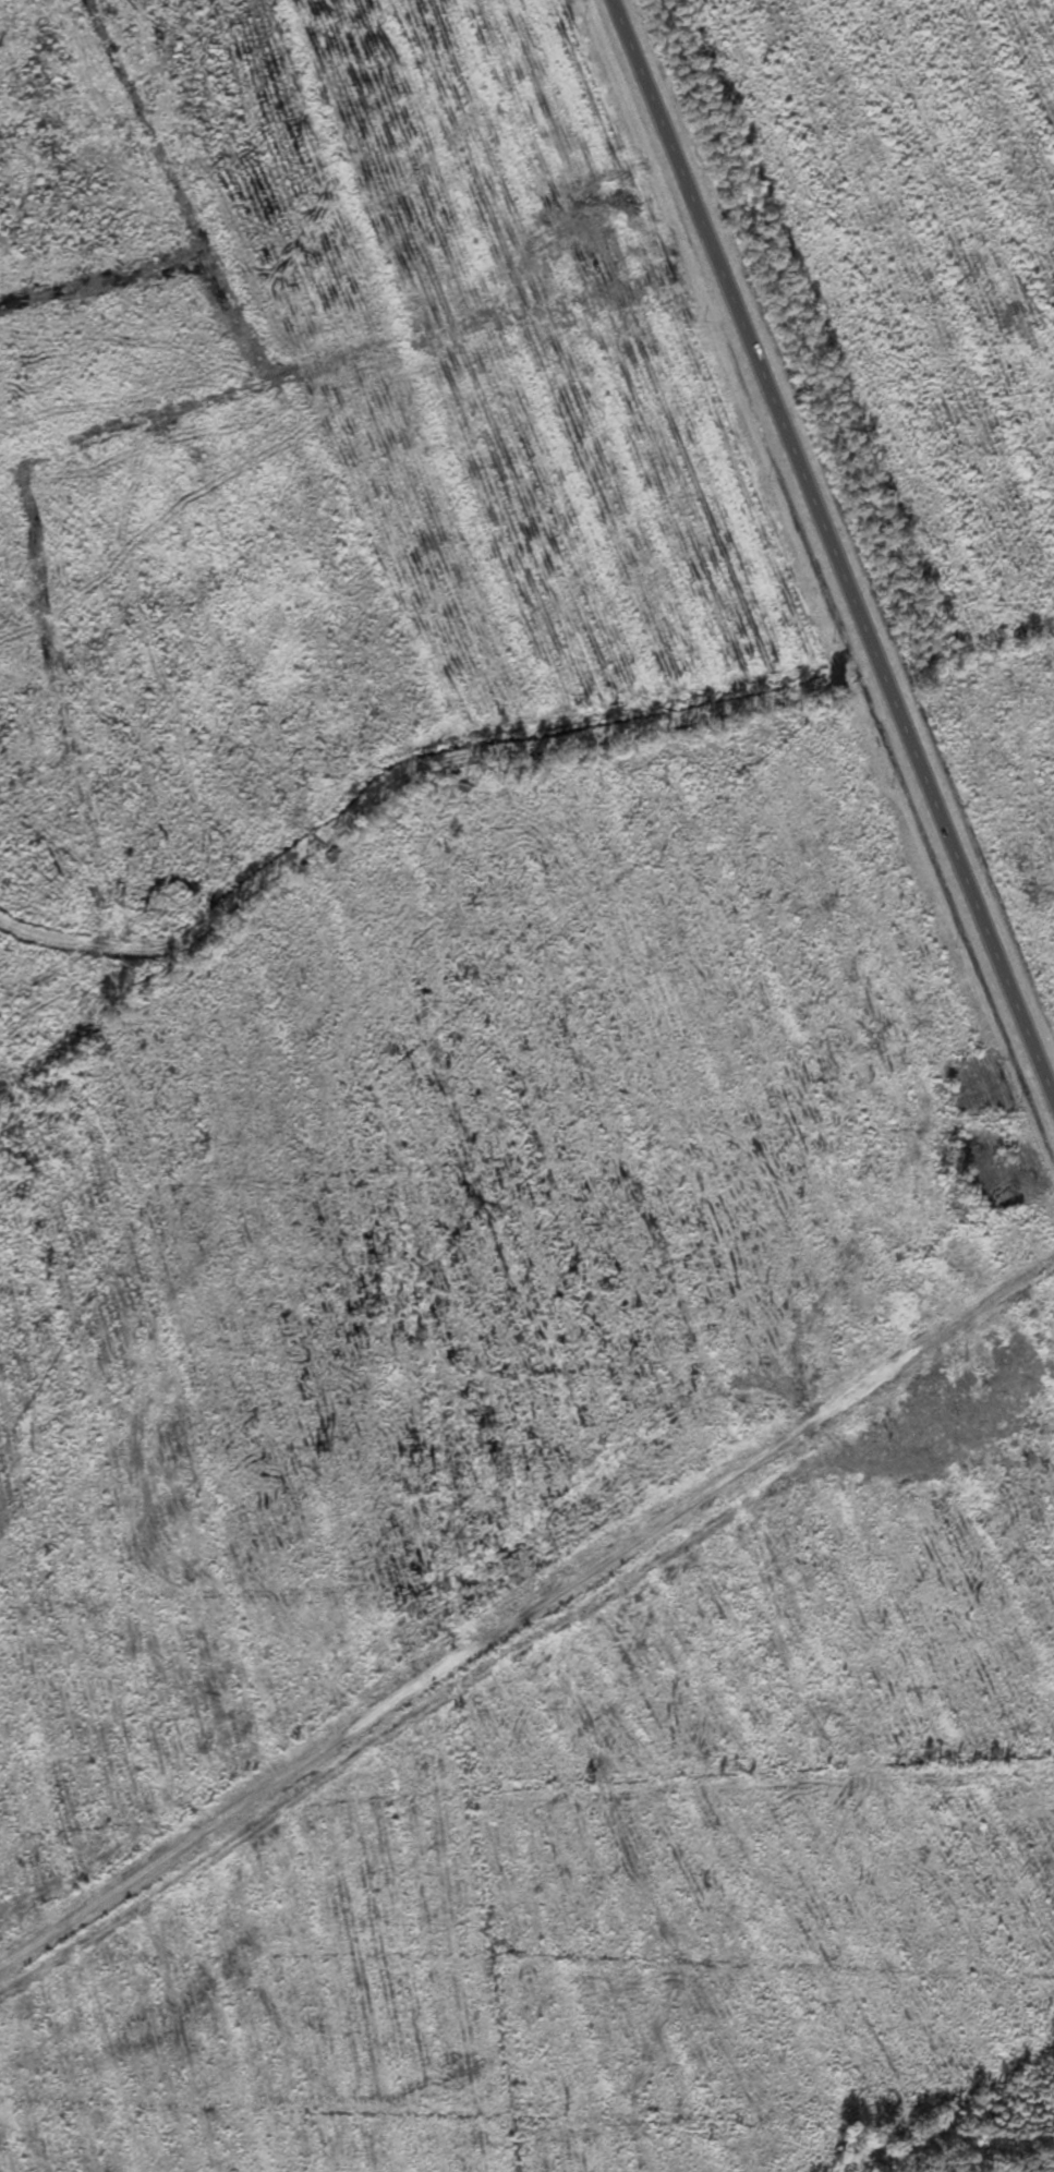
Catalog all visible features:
road: (837, 531)

